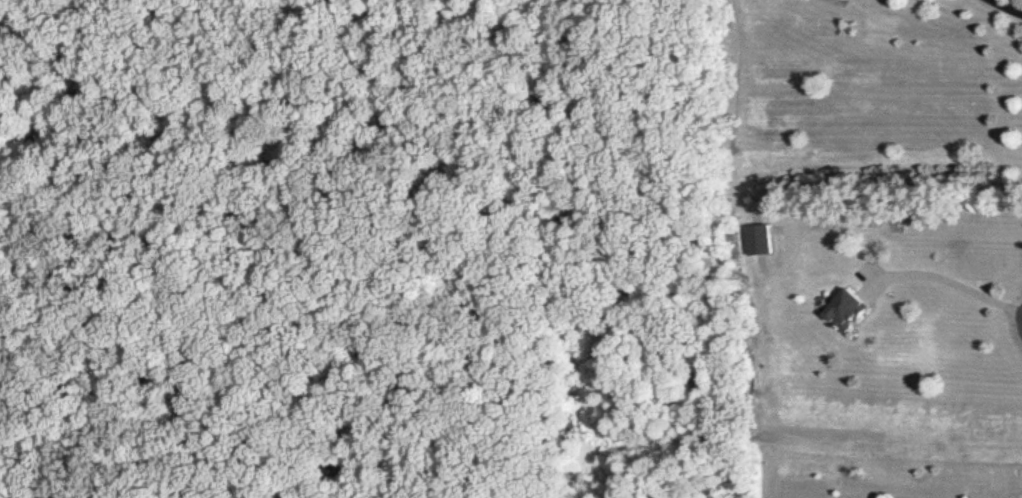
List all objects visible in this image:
road: (1006, 5)
building: (765, 241)
road: (946, 280)
building: (853, 310)

